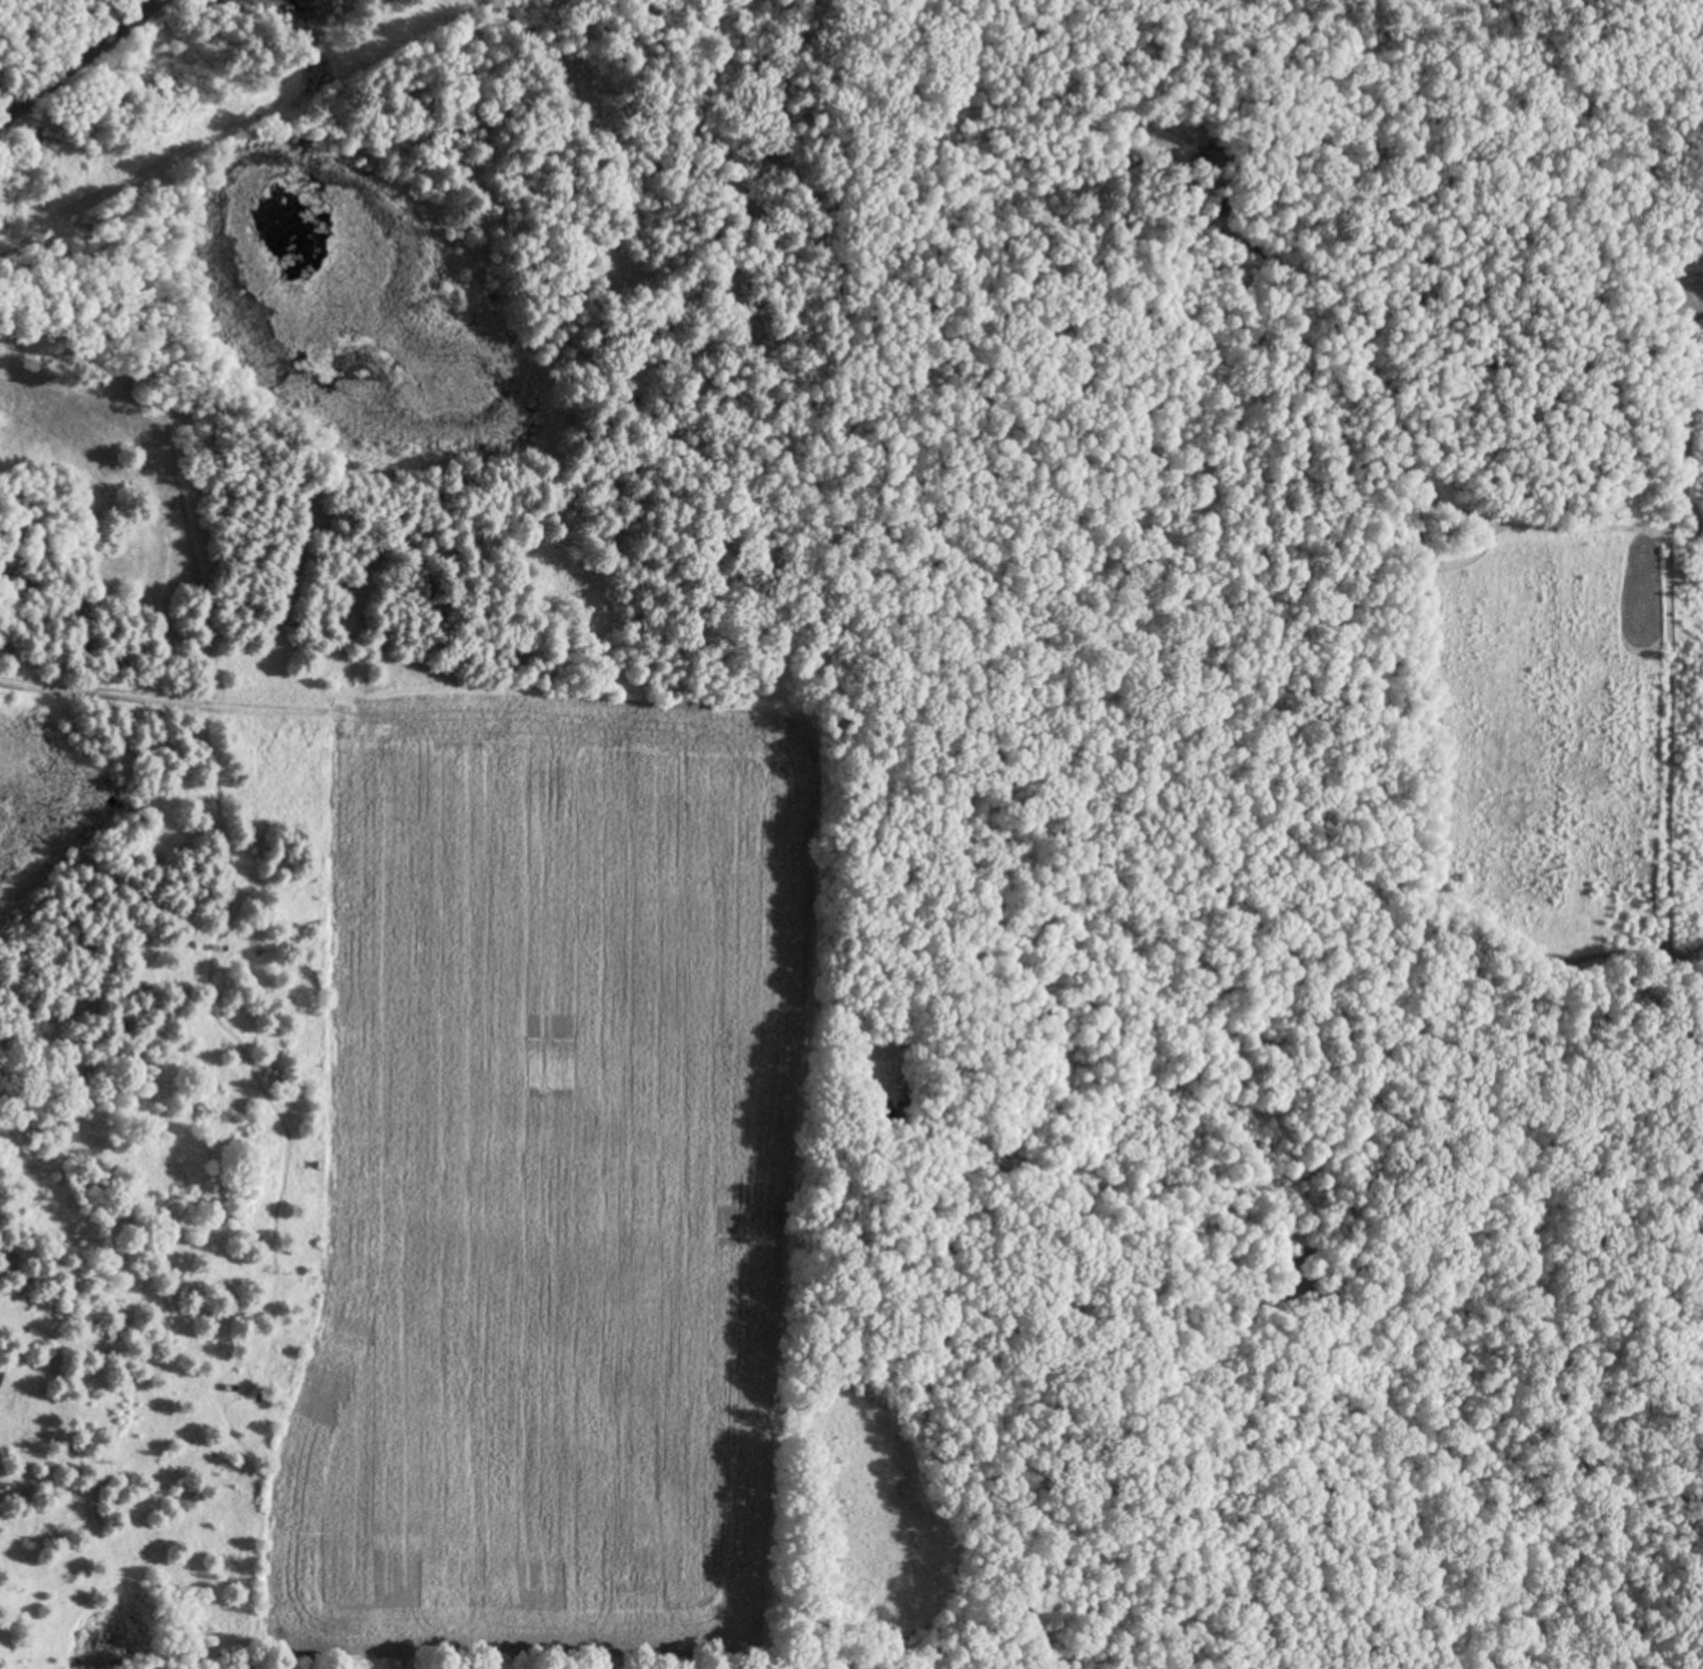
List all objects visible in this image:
road: (145, 78)
building: (1214, 165)
building: (1222, 211)

